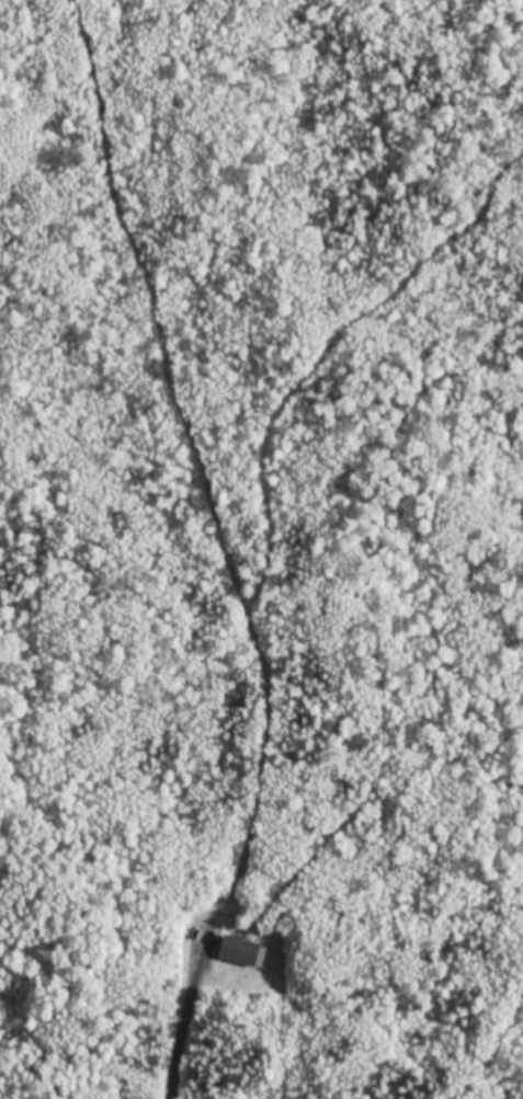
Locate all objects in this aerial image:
building: (241, 949)
road: (179, 1046)

